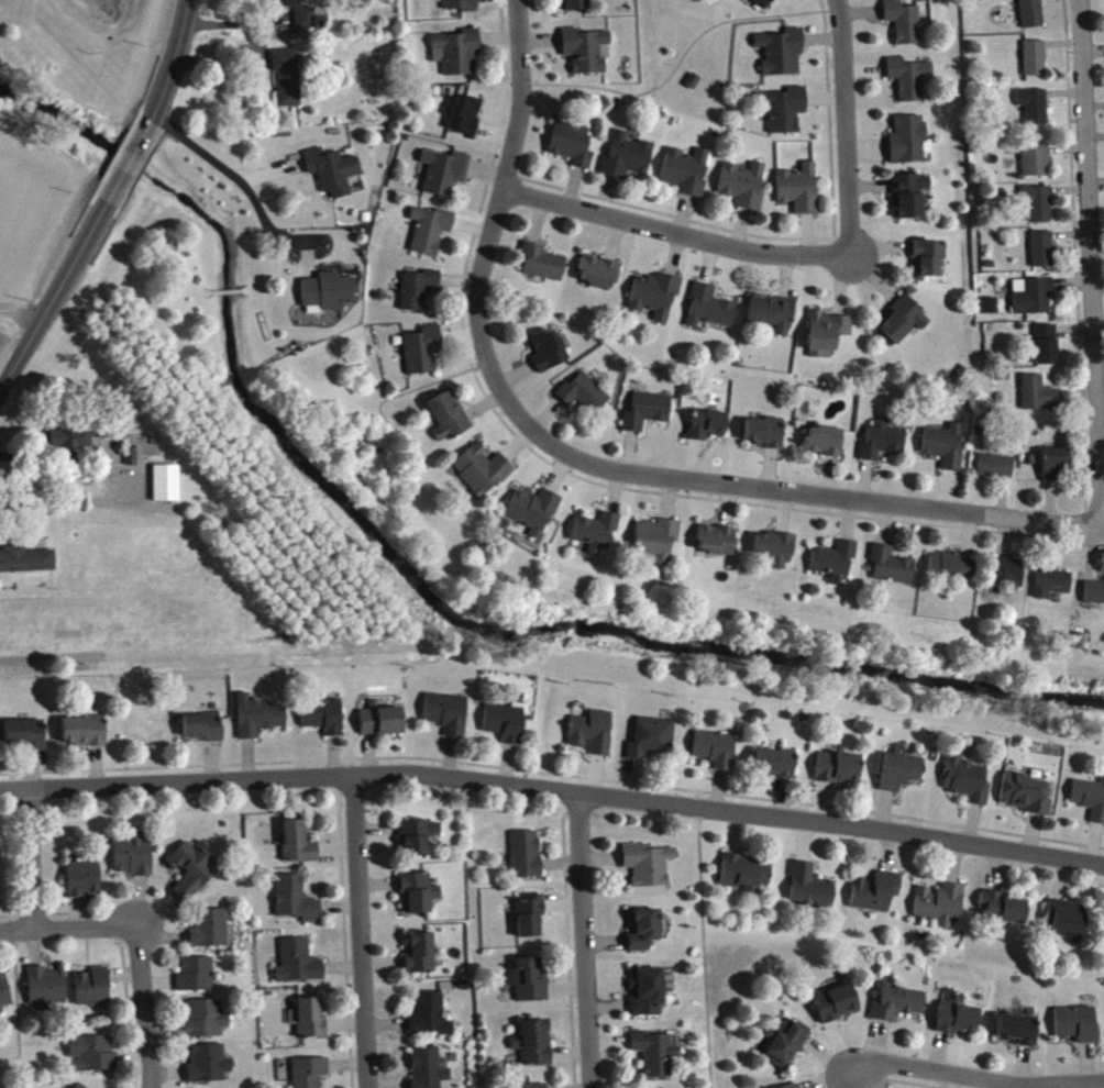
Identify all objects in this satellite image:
building: (292, 5)
building: (765, 5)
building: (575, 8)
building: (1031, 16)
building: (310, 24)
building: (904, 26)
building: (586, 55)
building: (459, 57)
building: (782, 57)
road: (170, 62)
building: (1035, 64)
building: (288, 82)
building: (909, 84)
building: (1035, 112)
building: (785, 114)
building: (465, 120)
road: (846, 127)
building: (909, 145)
building: (572, 148)
road: (210, 158)
road: (126, 162)
building: (627, 162)
building: (1036, 166)
building: (333, 176)
building: (445, 177)
building: (686, 177)
building: (743, 190)
building: (799, 195)
building: (909, 200)
building: (1038, 208)
road: (501, 212)
building: (430, 235)
road: (677, 237)
building: (1042, 255)
building: (928, 264)
road: (1091, 266)
building: (543, 268)
building: (599, 278)
building: (418, 295)
building: (328, 296)
road: (53, 297)
building: (655, 300)
building: (1034, 302)
building: (990, 311)
building: (710, 313)
building: (773, 320)
building: (901, 326)
building: (827, 337)
building: (1046, 349)
building: (422, 355)
building: (549, 355)
building: (584, 399)
building: (1038, 399)
building: (647, 417)
building: (449, 422)
building: (707, 430)
building: (764, 437)
building: (73, 444)
building: (826, 446)
building: (882, 446)
building: (945, 451)
building: (1056, 470)
building: (995, 471)
building: (482, 476)
building: (166, 489)
road: (798, 498)
building: (533, 517)
building: (595, 537)
building: (655, 545)
building: (716, 545)
building: (775, 555)
building: (26, 566)
building: (835, 566)
building: (951, 570)
building: (891, 571)
building: (1007, 578)
building: (1052, 589)
building: (1094, 598)
building: (448, 719)
building: (324, 721)
building: (258, 722)
building: (383, 726)
building: (505, 729)
building: (203, 732)
building: (85, 736)
building: (593, 737)
building: (25, 740)
building: (652, 744)
building: (715, 754)
building: (775, 768)
building: (838, 774)
building: (901, 777)
building: (967, 786)
road: (553, 790)
building: (1027, 799)
building: (1090, 803)
building: (419, 843)
building: (298, 848)
road: (30, 856)
building: (527, 859)
building: (133, 861)
building: (649, 869)
building: (194, 875)
building: (747, 878)
building: (84, 884)
building: (810, 892)
building: (876, 898)
building: (419, 899)
building: (297, 906)
building: (940, 909)
building: (1003, 912)
building: (531, 921)
building: (1068, 925)
road: (66, 926)
road: (357, 931)
building: (210, 934)
building: (644, 935)
road: (583, 941)
road: (702, 946)
building: (421, 958)
building: (299, 968)
building: (197, 979)
building: (529, 987)
building: (47, 992)
building: (93, 992)
building: (648, 997)
building: (4, 998)
road: (14, 1001)
road: (143, 1007)
building: (836, 1009)
building: (897, 1009)
building: (431, 1021)
building: (208, 1024)
building: (311, 1024)
building: (958, 1024)
building: (1077, 1030)
building: (1018, 1034)
building: (534, 1048)
building: (785, 1048)
building: (655, 1058)
building: (93, 1059)
building: (209, 1069)
building: (429, 1072)
building: (310, 1075)
road: (976, 1077)

